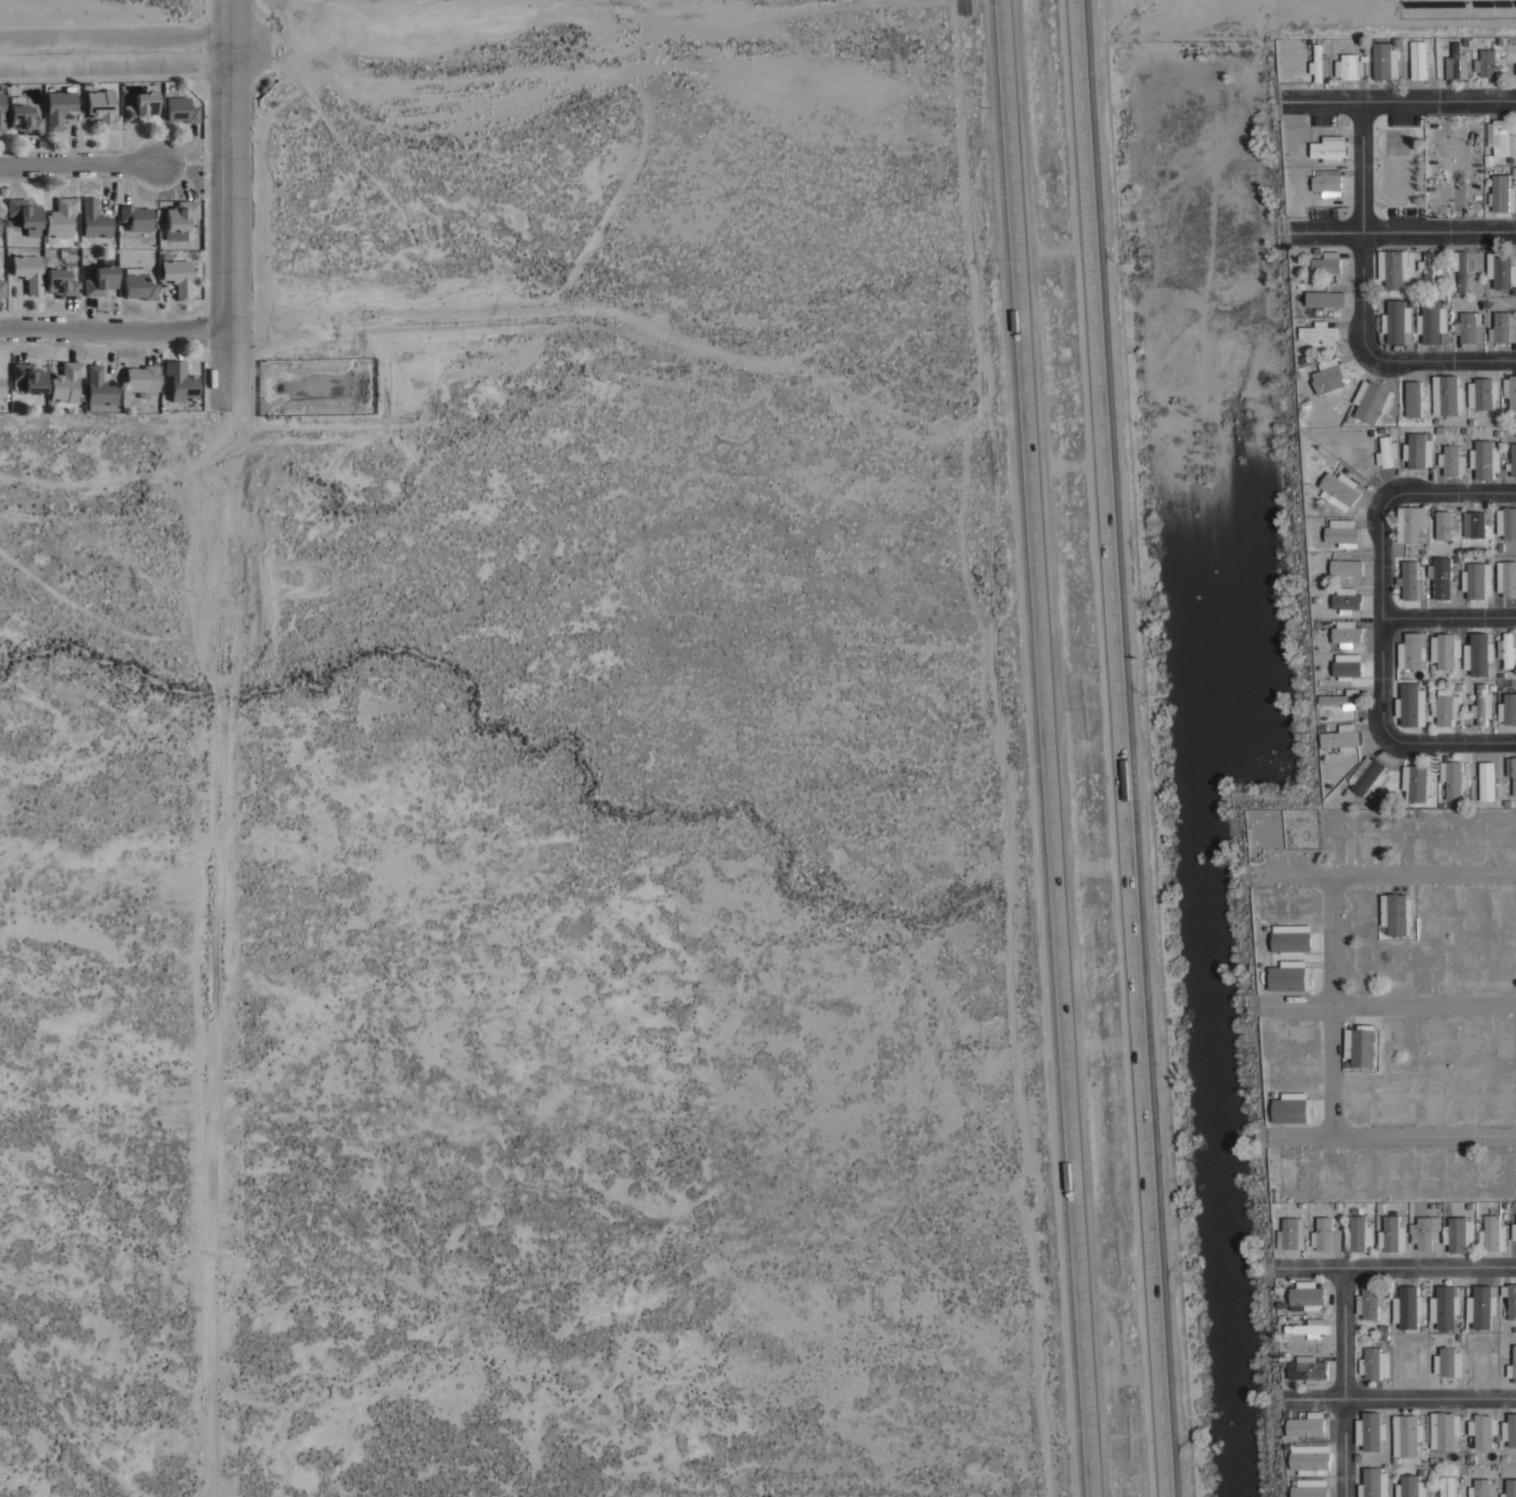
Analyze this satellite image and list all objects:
road: (963, 6)
solar farm: (1459, 10)
road: (1371, 26)
building: (1415, 61)
building: (1317, 62)
building: (1379, 62)
building: (1455, 62)
building: (1484, 64)
building: (1348, 68)
building: (1496, 69)
road: (120, 73)
building: (11, 94)
building: (60, 95)
road: (1400, 96)
building: (68, 114)
building: (149, 114)
building: (111, 116)
building: (190, 116)
building: (6, 119)
building: (33, 126)
building: (1500, 140)
building: (1326, 151)
road: (84, 173)
building: (1325, 185)
building: (1500, 195)
road: (240, 205)
road: (1357, 218)
building: (35, 222)
building: (70, 225)
building: (146, 225)
building: (103, 227)
road: (1405, 227)
building: (191, 228)
building: (17, 229)
building: (4, 232)
building: (1327, 263)
building: (1427, 271)
building: (1393, 272)
building: (1462, 273)
building: (1501, 273)
building: (38, 278)
building: (186, 281)
building: (110, 287)
building: (70, 289)
building: (148, 290)
building: (6, 293)
building: (1322, 303)
building: (1394, 322)
building: (1429, 324)
building: (1466, 328)
building: (1500, 328)
building: (1317, 334)
road: (120, 339)
road: (1432, 361)
building: (1327, 381)
building: (38, 383)
building: (151, 385)
building: (190, 388)
building: (75, 389)
building: (1359, 392)
building: (6, 394)
building: (108, 395)
building: (1469, 396)
building: (1483, 396)
building: (1512, 396)
building: (1447, 397)
building: (1413, 404)
building: (1370, 405)
building: (61, 412)
building: (91, 416)
building: (1385, 452)
building: (1417, 452)
building: (1512, 459)
building: (1449, 461)
building: (1483, 461)
road: (1063, 464)
road: (1467, 487)
building: (1338, 494)
building: (1411, 524)
building: (1442, 526)
building: (1476, 526)
building: (1508, 526)
building: (1340, 534)
road: (1376, 553)
building: (1344, 567)
building: (1409, 579)
building: (1442, 581)
building: (1475, 582)
building: (1508, 582)
building: (1345, 602)
road: (1447, 613)
building: (1347, 637)
building: (1445, 652)
building: (1507, 653)
building: (1478, 655)
building: (1413, 657)
building: (1465, 658)
building: (1343, 670)
building: (1480, 702)
building: (1409, 708)
building: (1509, 710)
building: (1441, 712)
road: (1411, 735)
building: (1338, 741)
road: (1048, 748)
road: (1121, 748)
road: (1000, 753)
building: (1357, 770)
building: (1368, 778)
building: (1513, 778)
building: (1452, 781)
building: (1487, 781)
building: (1416, 785)
road: (1230, 836)
road: (1374, 875)
building: (1408, 912)
building: (1397, 916)
building: (1292, 942)
road: (210, 952)
building: (1288, 979)
road: (1238, 1006)
road: (1377, 1006)
road: (1330, 1007)
building: (1360, 1047)
building: (1290, 1112)
road: (1380, 1137)
road: (1248, 1200)
building: (1513, 1231)
building: (1291, 1233)
building: (1424, 1233)
building: (1359, 1234)
building: (1459, 1234)
building: (1324, 1235)
building: (1390, 1235)
building: (1491, 1235)
road: (1383, 1262)
building: (1305, 1294)
building: (1368, 1300)
building: (1511, 1302)
building: (1482, 1307)
building: (1405, 1308)
building: (1443, 1308)
building: (1468, 1309)
building: (1308, 1329)
building: (1447, 1363)
building: (1372, 1364)
building: (1512, 1366)
building: (1306, 1369)
road: (1263, 1379)
road: (1340, 1380)
road: (1390, 1397)
building: (1305, 1425)
building: (1442, 1431)
building: (1483, 1431)
building: (1509, 1431)
building: (1371, 1432)
building: (1357, 1433)
building: (1405, 1436)
building: (1309, 1460)
building: (1374, 1483)
building: (1407, 1487)
building: (1307, 1488)
building: (1482, 1488)

